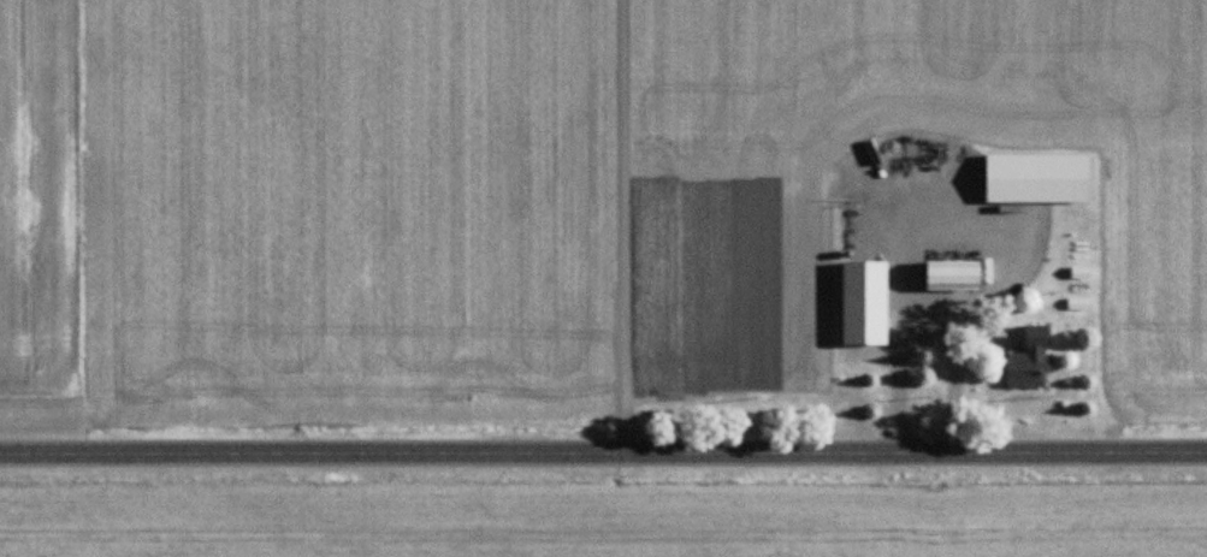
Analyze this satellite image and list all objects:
building: (1037, 178)
road: (962, 203)
road: (599, 226)
building: (953, 275)
building: (864, 302)
road: (921, 314)
building: (1030, 361)
road: (603, 454)

